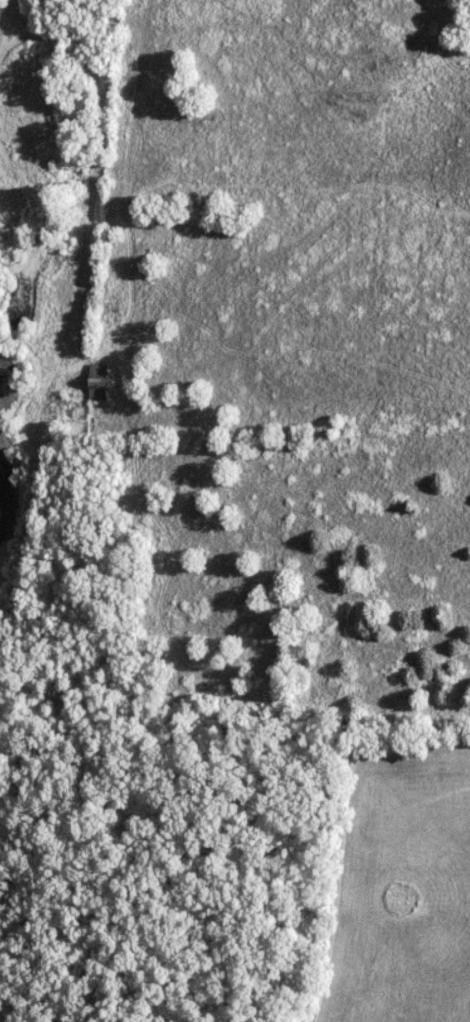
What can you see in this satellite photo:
building: (97, 383)

